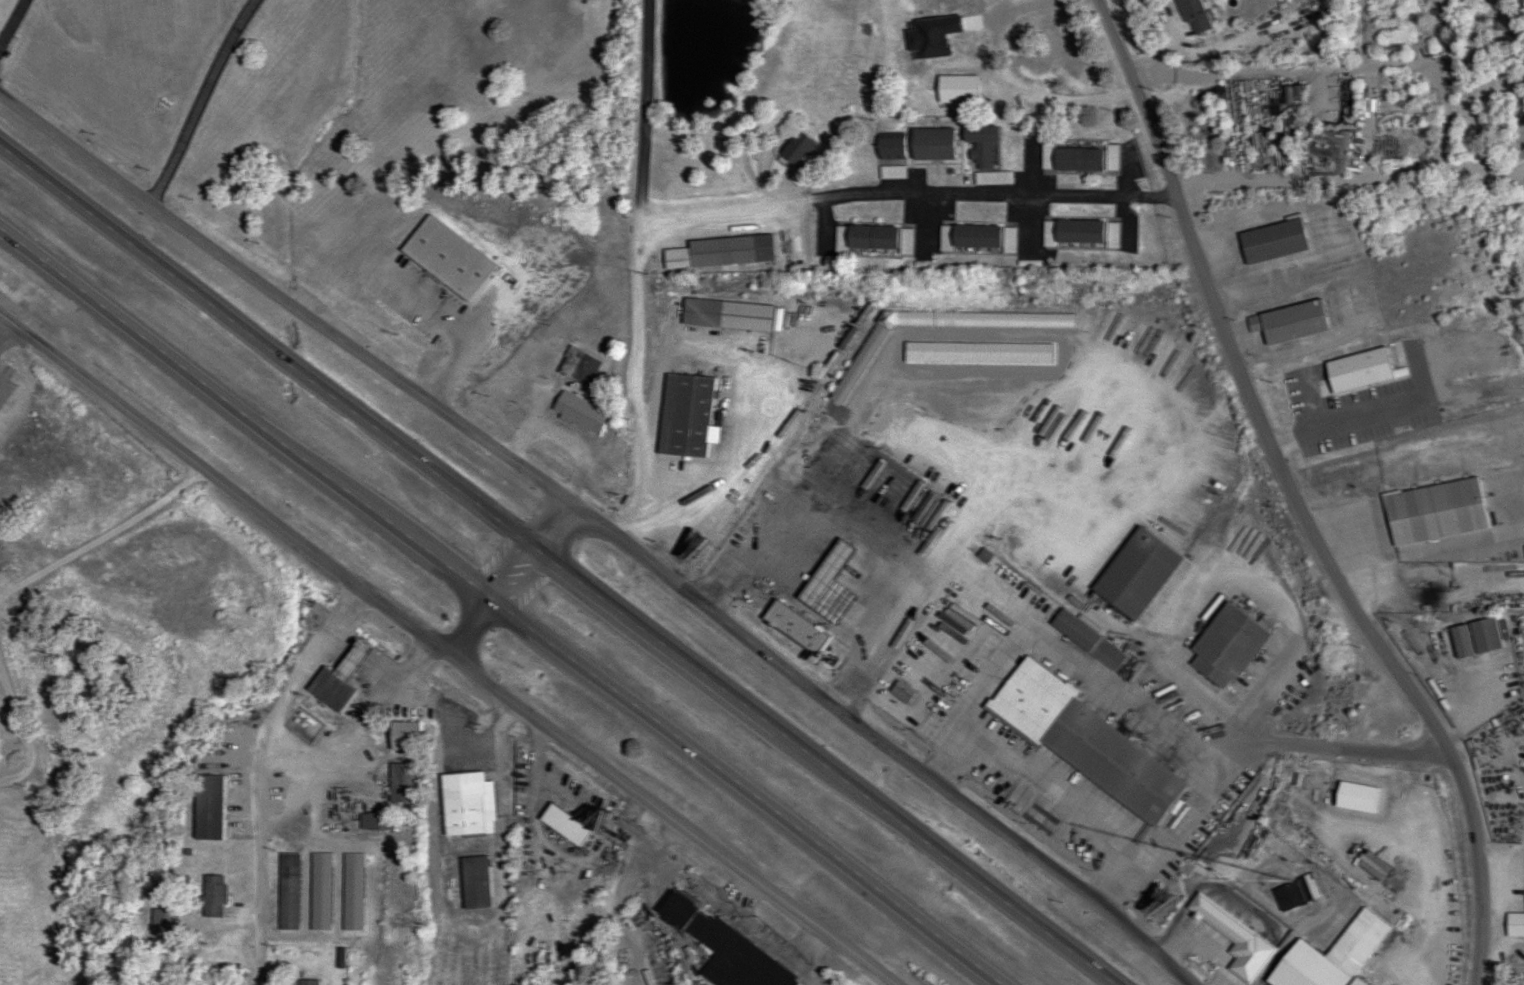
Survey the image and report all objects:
building: (1193, 16)
road: (13, 22)
building: (1003, 24)
building: (957, 90)
road: (1064, 101)
road: (202, 103)
building: (980, 145)
building: (1331, 147)
building: (797, 149)
building: (890, 149)
building: (1079, 159)
building: (892, 172)
road: (907, 194)
building: (1071, 233)
building: (969, 237)
building: (865, 238)
building: (905, 242)
building: (1272, 242)
building: (731, 251)
road: (635, 274)
building: (501, 289)
building: (730, 316)
building: (1288, 323)
road: (1352, 328)
road: (473, 330)
road: (265, 349)
building: (578, 366)
road: (245, 414)
building: (578, 414)
building: (685, 416)
road: (1291, 499)
road: (601, 532)
building: (825, 574)
building: (1136, 574)
building: (786, 629)
building: (1484, 637)
road: (454, 639)
building: (1088, 640)
building: (1461, 642)
building: (1227, 646)
road: (443, 653)
building: (337, 680)
building: (901, 692)
building: (402, 736)
building: (1083, 741)
road: (500, 748)
road: (819, 768)
road: (261, 774)
building: (402, 783)
road: (743, 793)
building: (466, 805)
building: (208, 807)
building: (563, 825)
building: (377, 828)
road: (599, 854)
building: (475, 882)
building: (288, 891)
building: (1295, 893)
building: (213, 896)
road: (662, 907)
building: (676, 909)
building: (164, 922)
building: (1234, 937)
building: (1357, 944)
road: (811, 955)
building: (734, 956)
building: (307, 982)

